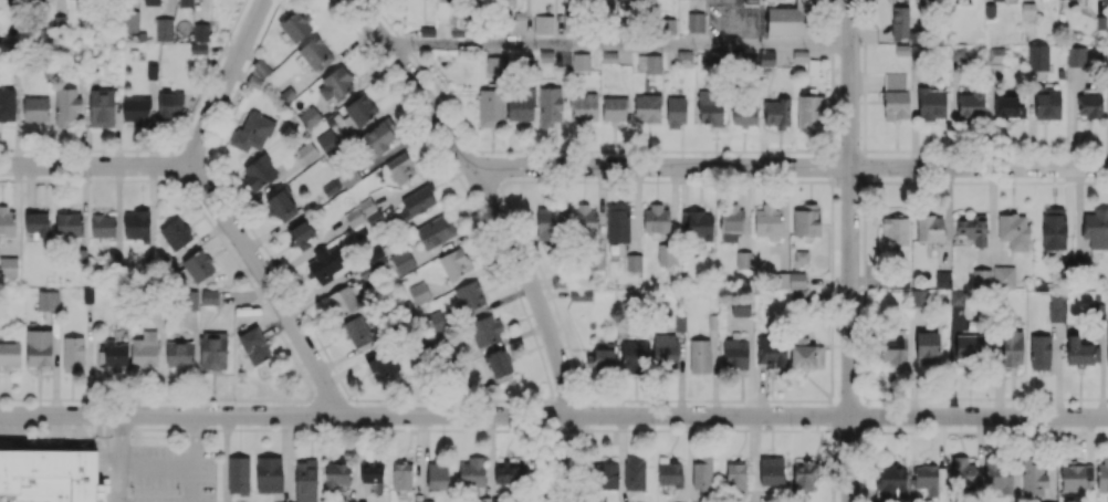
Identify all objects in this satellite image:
building: (627, 0)
building: (920, 0)
building: (997, 0)
building: (150, 2)
building: (186, 2)
building: (1105, 2)
building: (1027, 11)
building: (132, 20)
building: (787, 20)
building: (696, 21)
building: (899, 21)
building: (295, 24)
building: (543, 24)
building: (667, 25)
building: (163, 29)
building: (200, 32)
road: (619, 43)
building: (198, 48)
building: (958, 51)
building: (314, 53)
building: (995, 55)
building: (1076, 55)
building: (1038, 56)
building: (755, 60)
building: (581, 61)
building: (649, 63)
building: (494, 64)
building: (151, 72)
building: (258, 74)
road: (412, 81)
road: (224, 83)
building: (335, 84)
building: (895, 95)
building: (931, 102)
building: (1047, 103)
building: (7, 104)
building: (169, 104)
building: (66, 105)
building: (550, 105)
building: (970, 105)
building: (1089, 105)
building: (1007, 106)
building: (102, 107)
building: (490, 107)
building: (647, 107)
building: (710, 107)
building: (35, 108)
building: (520, 108)
building: (614, 108)
building: (135, 109)
building: (359, 109)
building: (583, 109)
building: (676, 111)
building: (776, 112)
building: (809, 112)
building: (309, 116)
building: (743, 117)
building: (251, 133)
building: (378, 137)
building: (328, 140)
building: (306, 151)
road: (93, 165)
building: (400, 167)
road: (788, 167)
building: (259, 171)
building: (348, 176)
building: (330, 187)
building: (374, 199)
building: (417, 202)
building: (282, 203)
building: (656, 219)
building: (806, 220)
building: (584, 221)
building: (769, 221)
building: (7, 222)
building: (617, 222)
building: (69, 223)
building: (550, 223)
building: (731, 223)
building: (103, 224)
building: (699, 224)
building: (35, 226)
building: (136, 226)
building: (932, 228)
building: (1096, 228)
building: (972, 229)
building: (1053, 229)
building: (1013, 230)
building: (435, 231)
building: (895, 231)
building: (175, 233)
building: (301, 234)
road: (850, 250)
building: (667, 253)
building: (801, 257)
building: (597, 259)
building: (401, 260)
building: (743, 260)
building: (634, 262)
building: (454, 263)
building: (325, 264)
building: (374, 265)
building: (8, 266)
building: (195, 266)
building: (1003, 276)
building: (981, 278)
building: (942, 279)
building: (791, 280)
road: (270, 286)
road: (531, 286)
building: (419, 293)
building: (581, 294)
building: (469, 295)
building: (209, 296)
building: (918, 296)
building: (957, 296)
building: (48, 300)
building: (189, 300)
building: (343, 301)
building: (1055, 307)
building: (740, 308)
building: (679, 323)
building: (485, 330)
building: (356, 331)
building: (253, 346)
building: (969, 346)
building: (38, 347)
building: (927, 347)
building: (1012, 347)
building: (1107, 347)
building: (895, 348)
building: (145, 349)
building: (212, 351)
building: (665, 351)
building: (771, 351)
building: (73, 352)
building: (1039, 352)
building: (1081, 352)
building: (735, 353)
building: (114, 354)
building: (10, 355)
building: (179, 355)
building: (634, 355)
building: (699, 355)
building: (806, 356)
building: (599, 358)
building: (379, 364)
building: (500, 365)
road: (553, 415)
parking lot: (41, 425)
road: (119, 428)
road: (195, 429)
road: (566, 460)
road: (156, 464)
parking lot: (163, 470)
building: (372, 470)
road: (118, 471)
building: (771, 471)
building: (963, 471)
road: (192, 472)
building: (472, 472)
building: (336, 473)
building: (508, 473)
building: (634, 473)
building: (670, 473)
building: (804, 473)
building: (238, 474)
building: (268, 474)
building: (437, 474)
building: (702, 474)
building: (1102, 474)
building: (401, 475)
building: (605, 475)
building: (735, 475)
building: (997, 475)
building: (49, 477)
building: (1034, 478)
building: (1075, 478)
building: (926, 479)
building: (305, 480)
building: (891, 481)
building: (422, 501)

